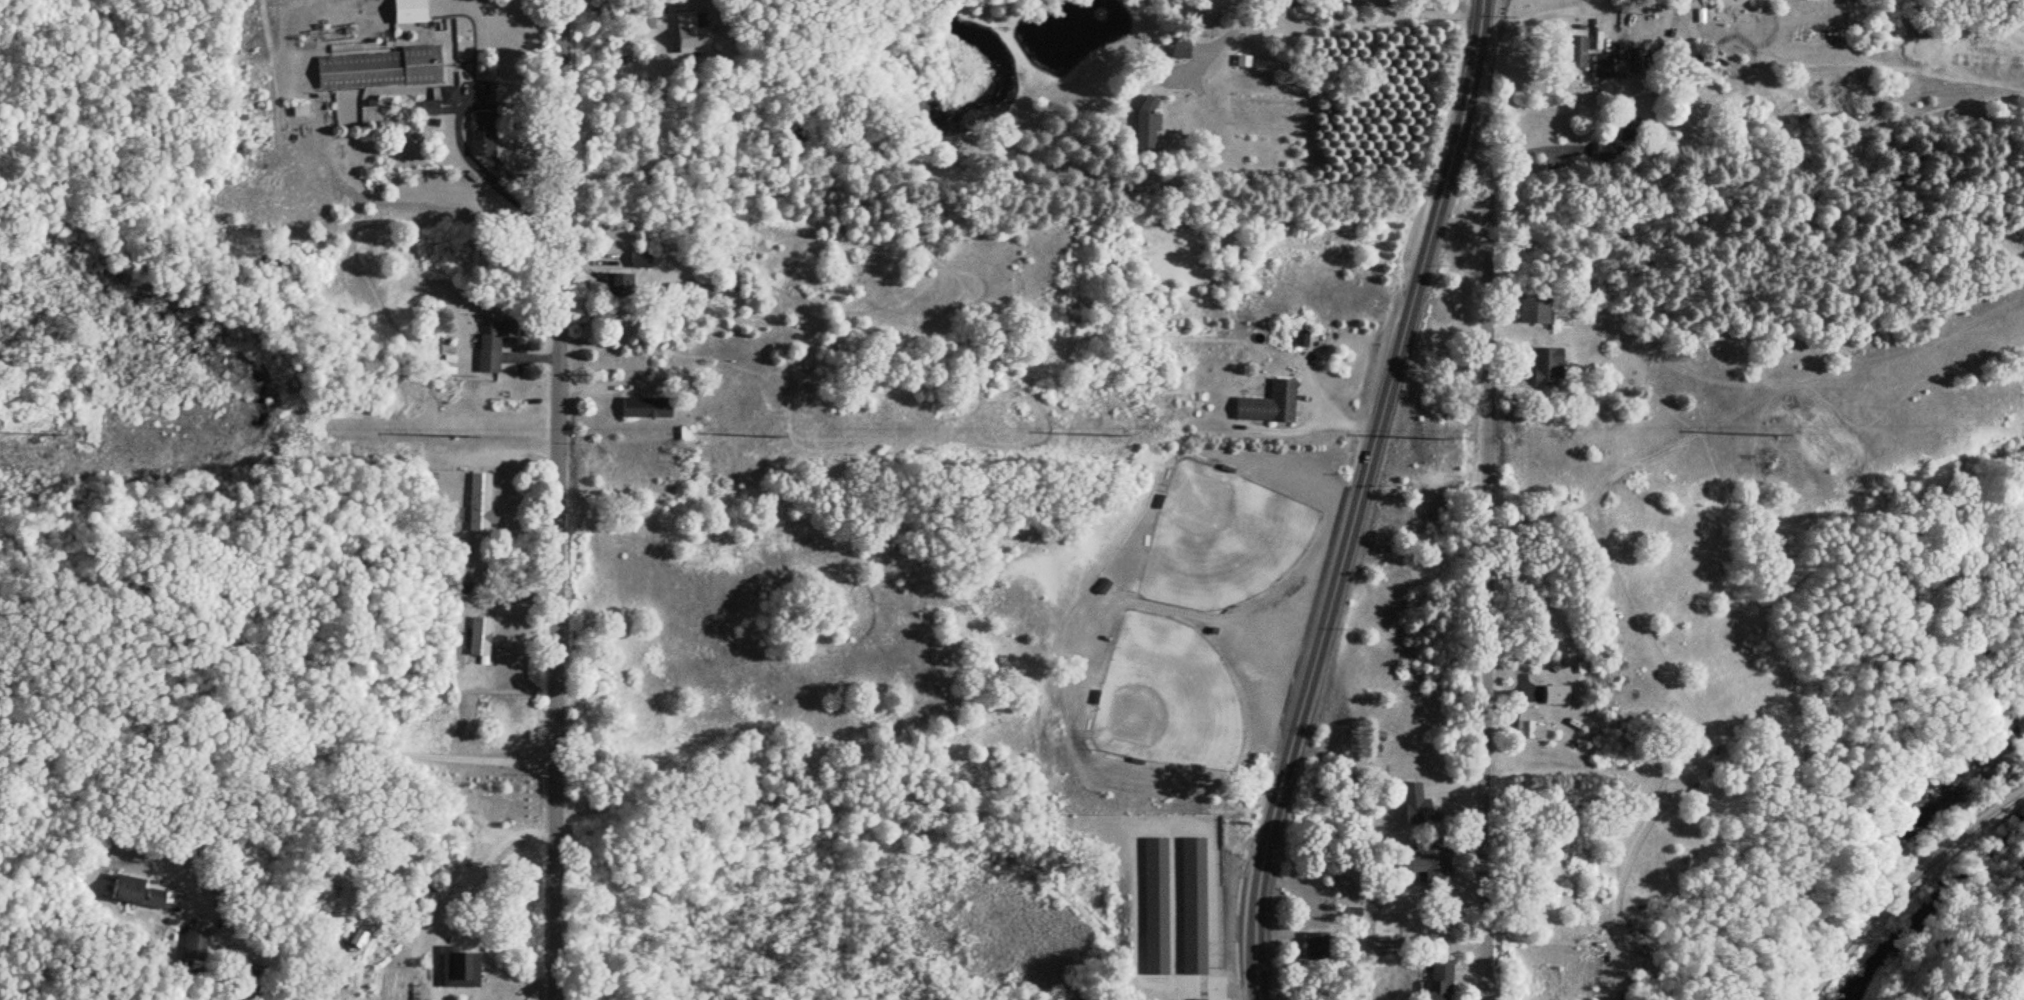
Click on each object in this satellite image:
road: (1482, 2)
road: (646, 5)
building: (407, 12)
building: (1207, 28)
building: (687, 36)
road: (1220, 36)
road: (1469, 46)
building: (1576, 53)
building: (1237, 62)
building: (1601, 66)
road: (1625, 67)
building: (373, 77)
building: (427, 109)
building: (480, 134)
road: (479, 165)
building: (637, 260)
building: (616, 284)
building: (1531, 310)
building: (490, 347)
building: (1544, 367)
building: (1267, 405)
building: (643, 408)
power tower: (50, 434)
power tower: (1770, 435)
power tower: (1115, 436)
power tower: (772, 437)
power tower: (465, 438)
power tower: (1434, 438)
road: (552, 499)
park: (1218, 535)
road: (1341, 545)
road: (1481, 546)
building: (479, 642)
building: (1554, 696)
park: (1165, 697)
building: (1520, 719)
road: (325, 751)
building: (1413, 806)
building: (1428, 867)
railway: (1900, 883)
building: (136, 894)
building: (1153, 904)
building: (193, 947)
building: (1314, 947)
building: (1203, 960)
building: (1437, 979)

